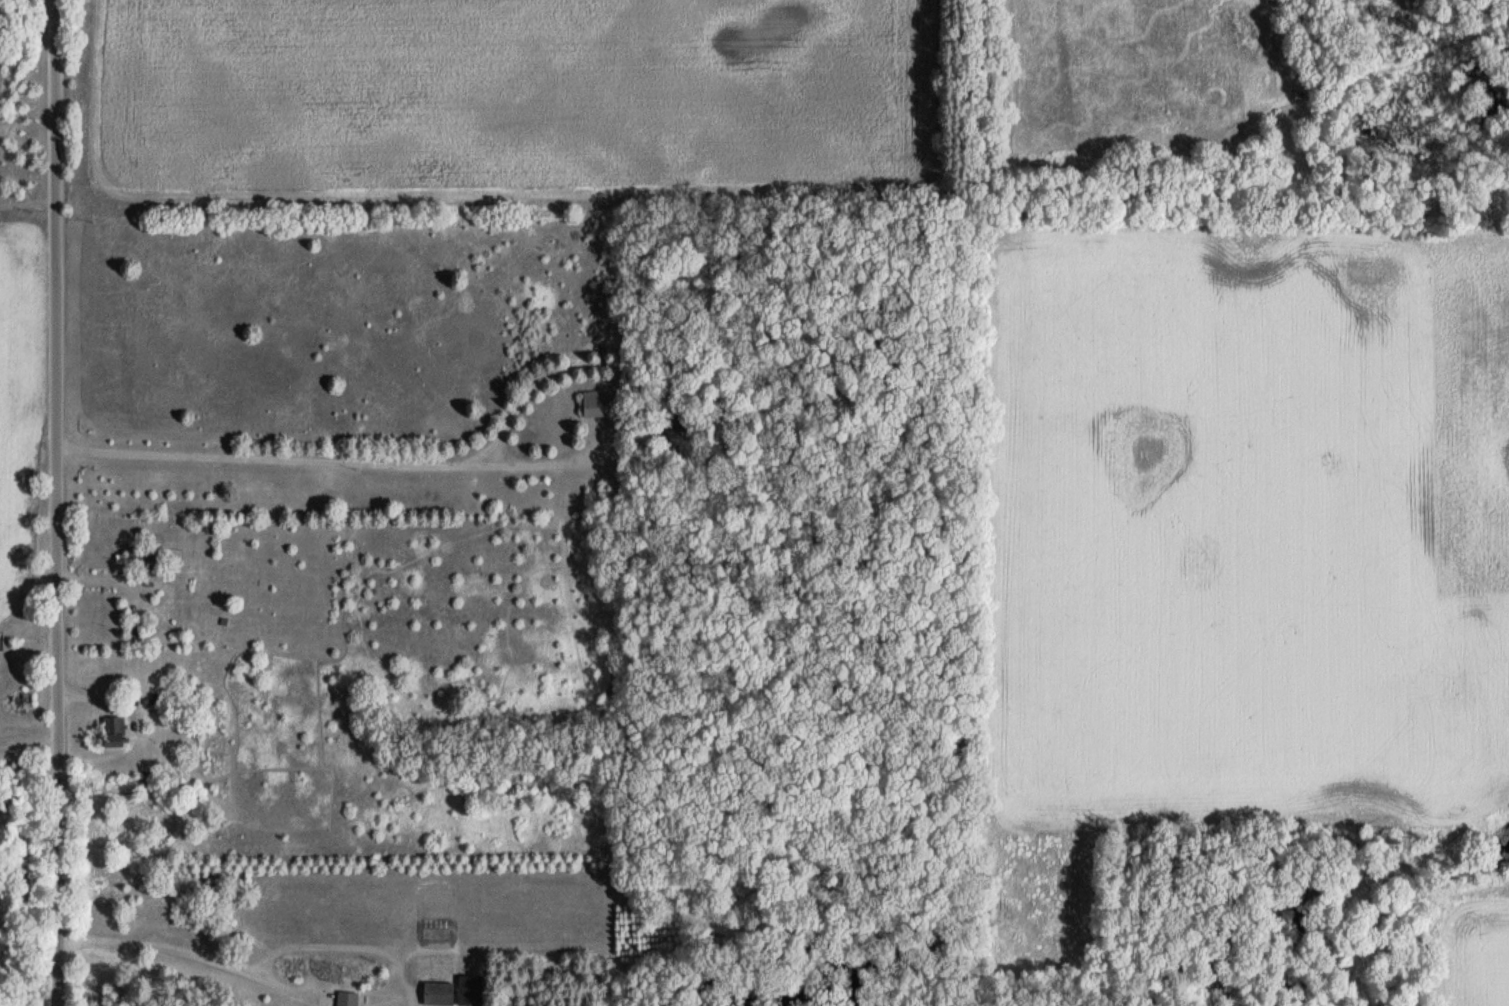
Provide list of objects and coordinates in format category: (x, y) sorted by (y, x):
building: (599, 403)
road: (322, 460)
road: (53, 503)
building: (137, 556)
building: (112, 730)
road: (185, 949)
building: (468, 989)
building: (438, 992)
building: (346, 998)

